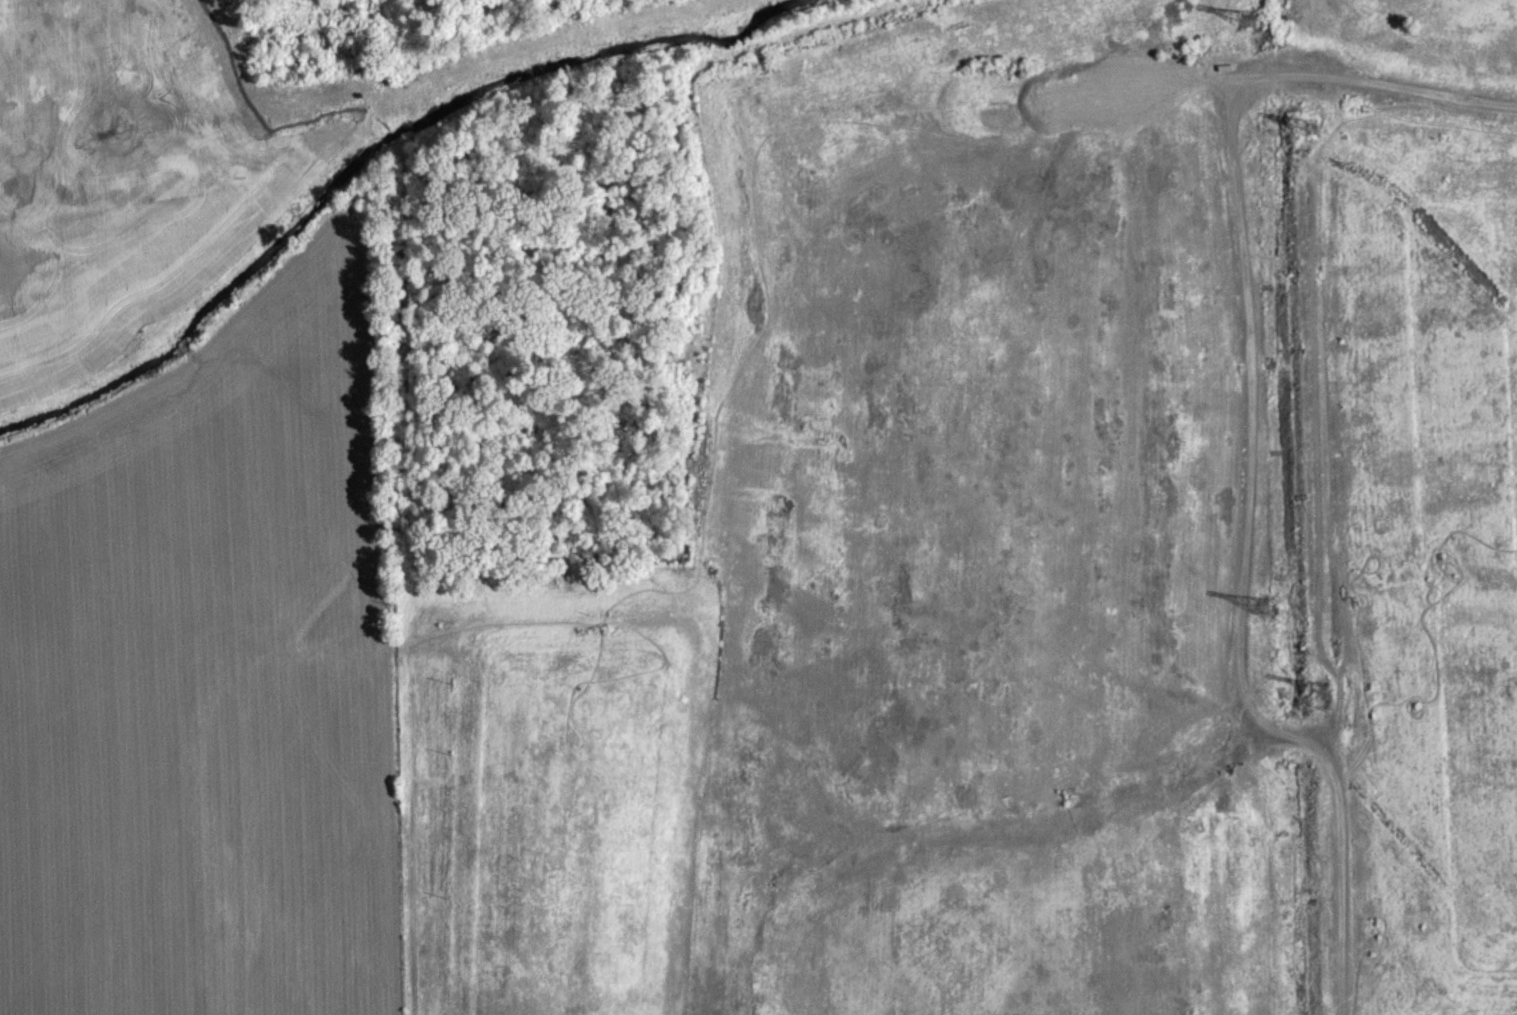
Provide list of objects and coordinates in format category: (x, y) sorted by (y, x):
power tower: (1253, 14)
power tower: (1314, 123)
power tower: (1261, 602)
power tower: (1326, 685)

